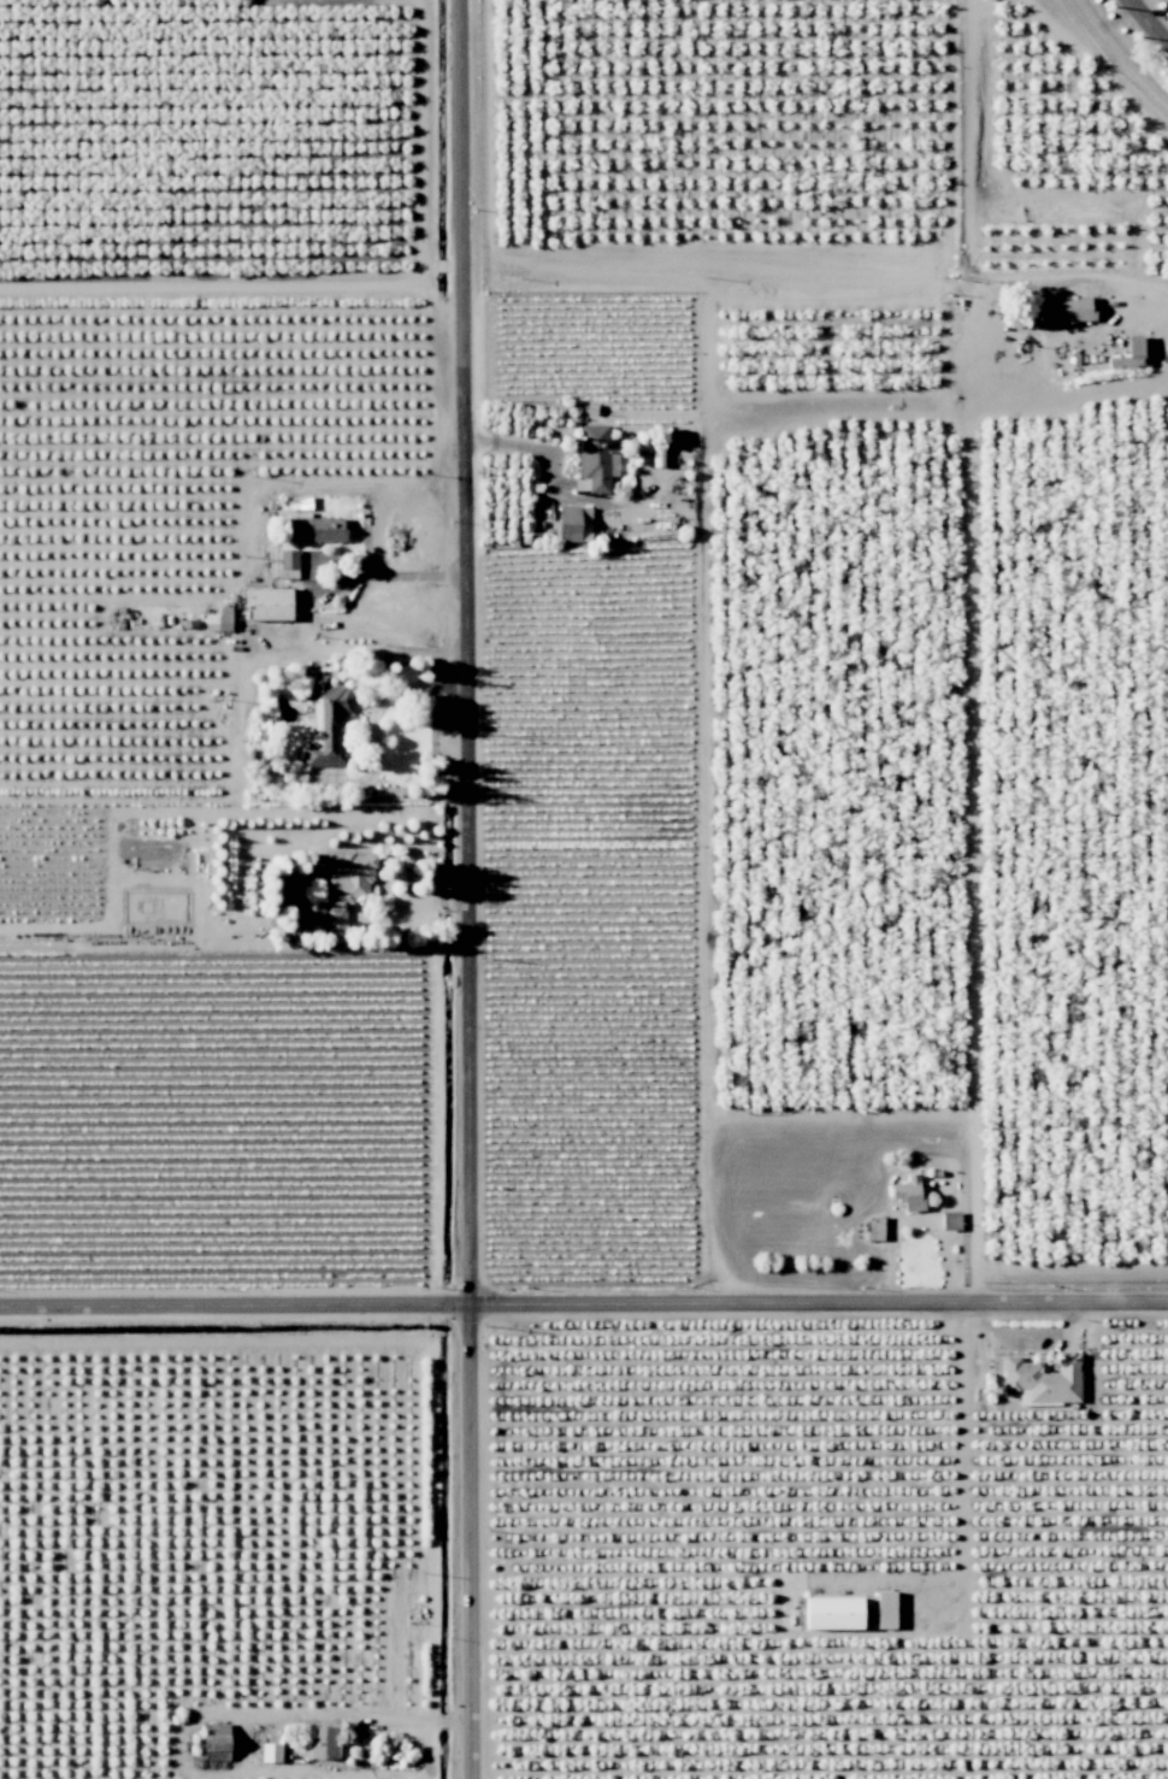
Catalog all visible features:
road: (1148, 23)
crop: (214, 147)
crop: (808, 154)
building: (1073, 307)
road: (1155, 311)
building: (596, 456)
building: (573, 523)
building: (314, 528)
building: (287, 562)
building: (267, 603)
building: (218, 619)
road: (362, 653)
crop: (832, 718)
building: (328, 721)
building: (344, 886)
road: (464, 889)
building: (308, 914)
crop: (1064, 937)
building: (908, 1191)
building: (950, 1219)
building: (874, 1231)
road: (583, 1302)
building: (1042, 1378)
road: (965, 1448)
building: (885, 1608)
building: (832, 1612)
road: (455, 1725)
building: (216, 1740)
building: (320, 1742)
road: (429, 1746)
building: (270, 1751)

